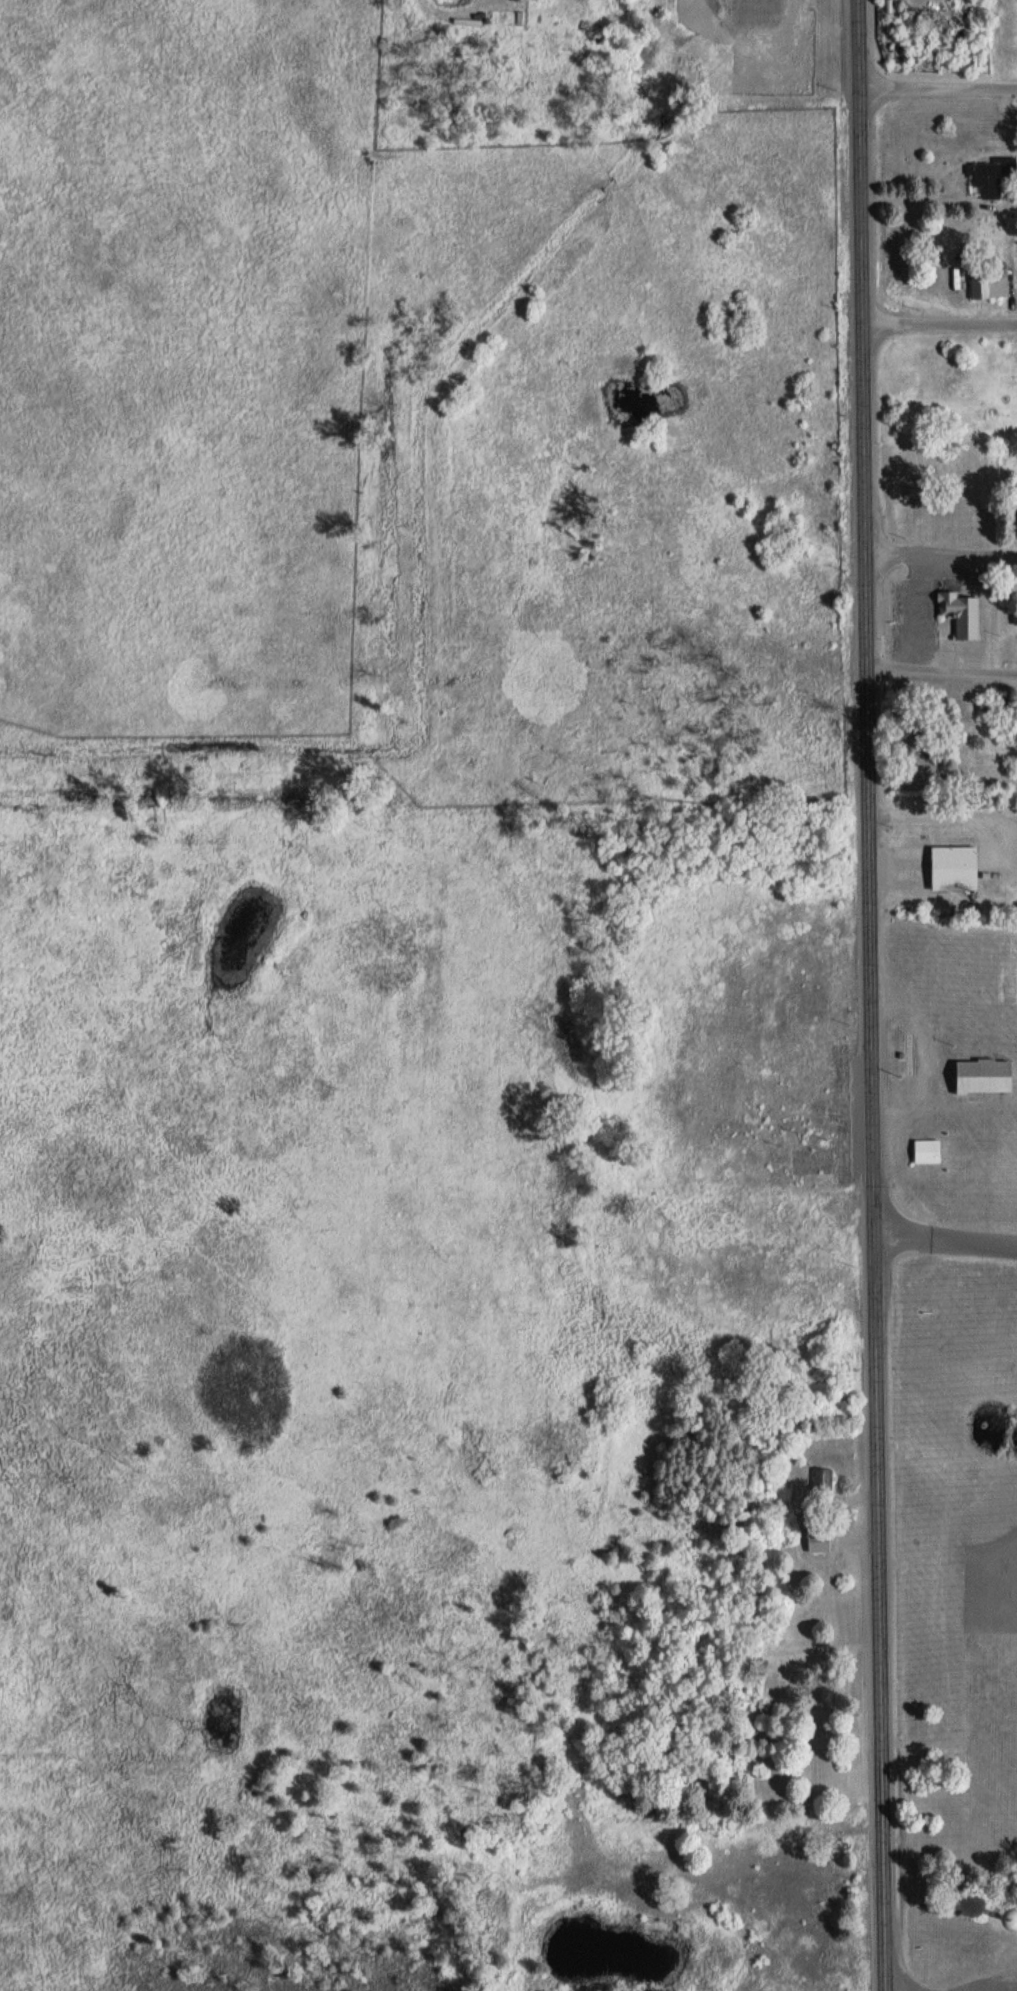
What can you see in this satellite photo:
building: (466, 21)
road: (937, 90)
building: (991, 176)
building: (989, 283)
road: (938, 324)
building: (785, 550)
road: (939, 553)
building: (960, 613)
building: (1014, 616)
road: (940, 673)
building: (994, 704)
building: (954, 867)
road: (872, 995)
road: (945, 1030)
building: (984, 1074)
building: (927, 1150)
building: (823, 1480)
building: (818, 1540)
building: (645, 1901)
water tower: (1005, 1918)
building: (659, 1926)
road: (897, 1977)
road: (1000, 1989)

